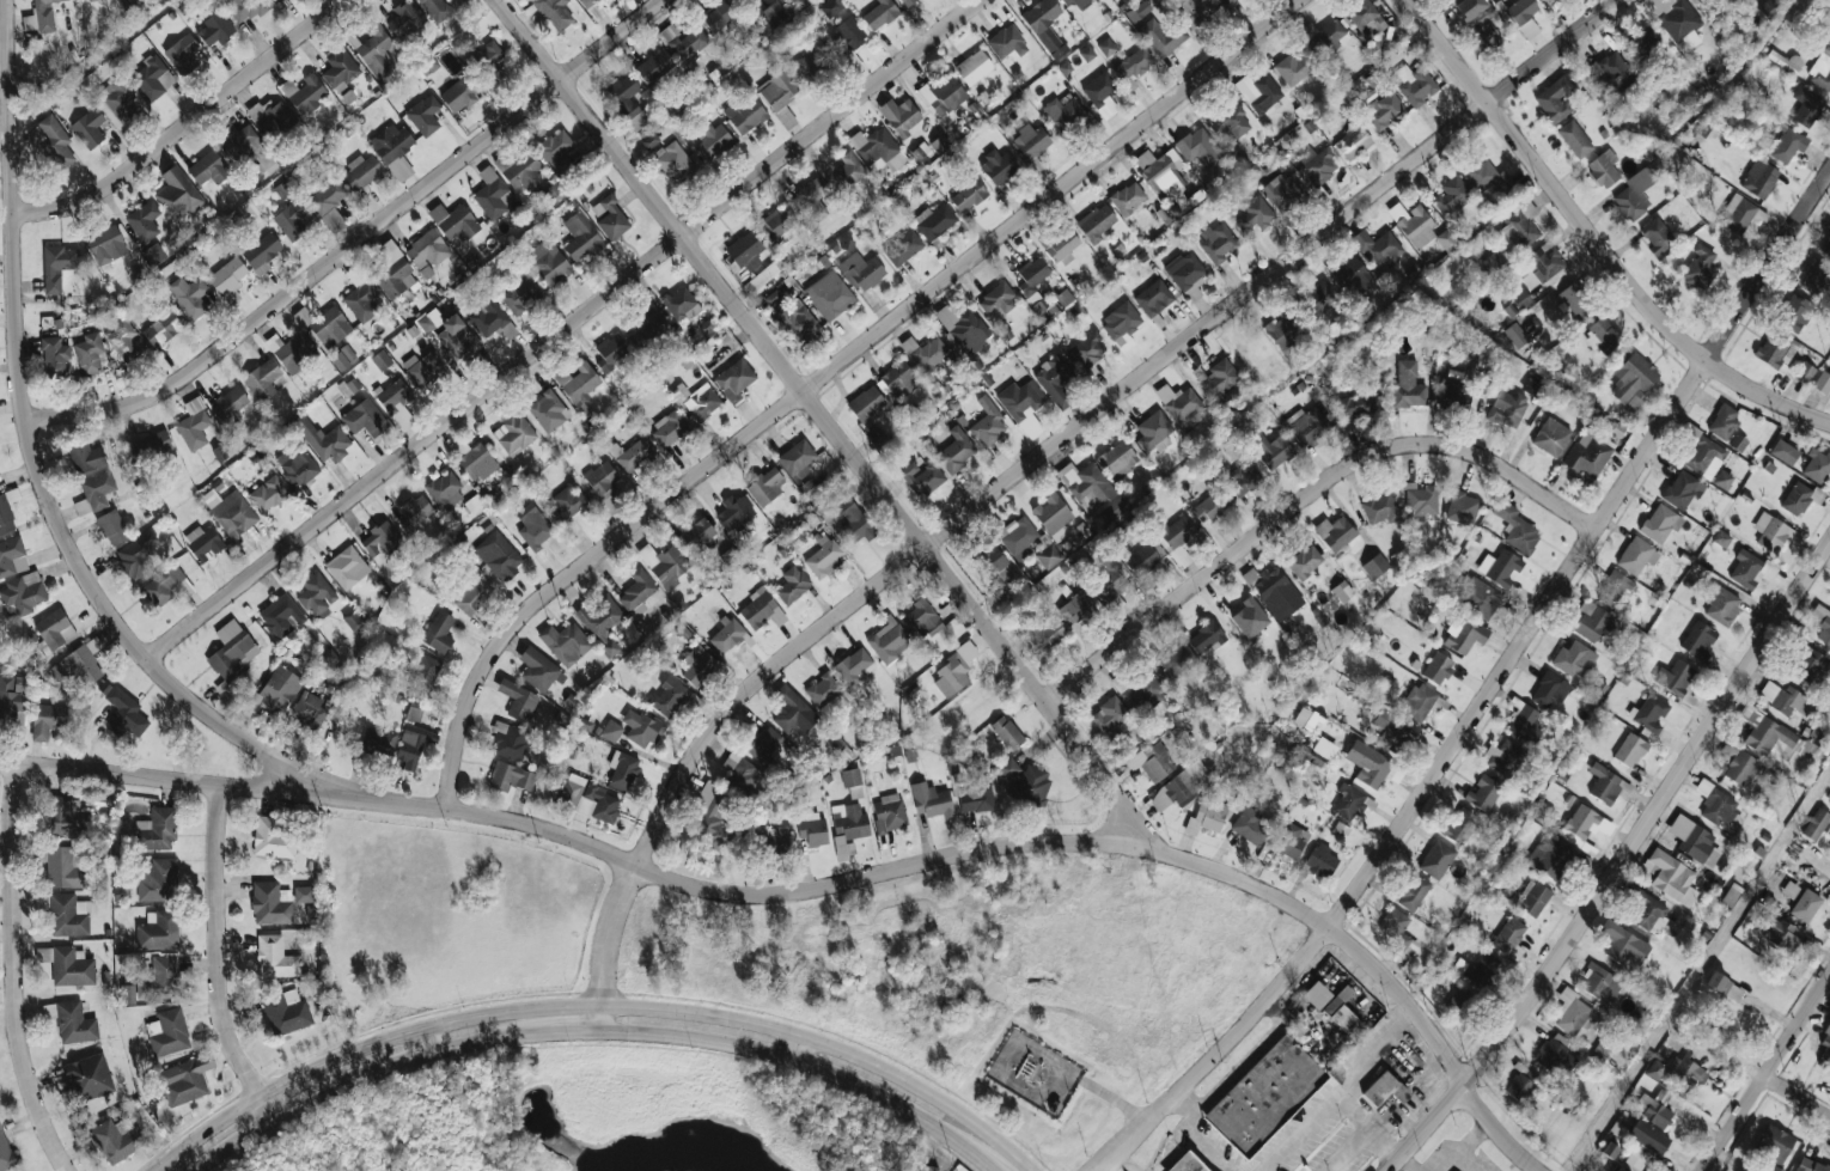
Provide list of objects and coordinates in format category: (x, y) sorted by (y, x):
building: (90, 0)
building: (1549, 0)
building: (1701, 0)
building: (273, 1)
building: (746, 1)
building: (902, 1)
building: (1226, 1)
building: (587, 2)
building: (1075, 2)
building: (830, 7)
building: (244, 8)
building: (435, 8)
building: (1469, 8)
building: (1137, 11)
building: (1196, 12)
building: (554, 13)
building: (774, 13)
building: (879, 14)
building: (41, 17)
building: (1523, 17)
building: (405, 19)
building: (1365, 19)
building: (720, 20)
building: (1675, 20)
building: (1043, 22)
building: (214, 30)
building: (1484, 33)
building: (849, 35)
building: (1161, 37)
building: (1325, 37)
building: (683, 41)
building: (1643, 41)
building: (1007, 42)
building: (1106, 47)
building: (376, 48)
building: (182, 55)
building: (487, 63)
building: (1134, 63)
building: (813, 65)
building: (654, 67)
building: (974, 67)
building: (1293, 68)
building: (340, 69)
building: (1820, 69)
building: (1610, 73)
building: (152, 79)
building: (1416, 87)
building: (777, 90)
building: (1259, 91)
building: (304, 93)
building: (459, 94)
building: (1102, 94)
building: (941, 96)
building: (1556, 98)
building: (624, 99)
building: (118, 103)
building: (1806, 106)
building: (1385, 110)
building: (1063, 112)
building: (423, 115)
building: (744, 115)
building: (899, 115)
building: (270, 118)
road: (187, 124)
building: (1231, 124)
building: (89, 128)
building: (1574, 139)
building: (649, 140)
building: (1031, 141)
building: (1353, 141)
building: (53, 142)
building: (713, 142)
building: (939, 144)
building: (392, 145)
building: (1788, 145)
building: (242, 146)
building: (1197, 148)
building: (555, 150)
building: (878, 150)
building: (675, 163)
building: (1317, 165)
building: (998, 167)
building: (208, 169)
building: (1603, 169)
building: (519, 170)
building: (361, 172)
building: (847, 172)
building: (1165, 177)
building: (1759, 178)
building: (1489, 179)
building: (1637, 190)
building: (1283, 193)
building: (177, 194)
building: (490, 194)
building: (968, 194)
building: (1451, 195)
building: (1128, 199)
building: (812, 200)
building: (329, 202)
building: (1737, 213)
building: (1253, 216)
building: (609, 218)
building: (293, 220)
building: (144, 221)
building: (455, 221)
building: (934, 221)
building: (775, 224)
building: (1096, 224)
building: (1413, 224)
building: (1517, 232)
building: (1657, 236)
building: (580, 238)
road: (1596, 238)
building: (1446, 240)
road: (358, 242)
building: (1218, 243)
building: (105, 245)
building: (1061, 245)
building: (1826, 248)
building: (903, 249)
building: (1378, 249)
building: (427, 250)
building: (745, 251)
building: (262, 252)
building: (153, 255)
building: (548, 263)
building: (1494, 263)
building: (1543, 264)
building: (57, 266)
building: (1700, 268)
building: (391, 272)
building: (861, 272)
building: (1187, 274)
building: (227, 275)
building: (1031, 275)
building: (763, 276)
building: (1350, 276)
building: (1816, 277)
building: (829, 294)
building: (188, 295)
building: (520, 295)
building: (771, 298)
building: (1153, 298)
building: (1318, 299)
building: (1576, 300)
building: (361, 301)
building: (998, 303)
building: (681, 304)
building: (1795, 315)
building: (488, 318)
building: (797, 319)
building: (1121, 325)
building: (330, 328)
building: (161, 329)
building: (648, 329)
building: (963, 329)
road: (563, 330)
building: (1281, 331)
building: (450, 334)
building: (1515, 335)
building: (1600, 335)
building: (122, 340)
building: (1087, 350)
building: (1777, 350)
building: (611, 352)
building: (89, 354)
building: (54, 356)
building: (382, 360)
building: (423, 368)
building: (1804, 372)
road: (829, 373)
building: (897, 377)
building: (1053, 378)
building: (1219, 378)
building: (262, 380)
building: (734, 380)
building: (1633, 380)
building: (578, 383)
building: (1822, 383)
building: (1408, 386)
building: (1535, 388)
building: (1454, 395)
building: (695, 398)
building: (1020, 400)
building: (395, 401)
building: (1358, 403)
building: (228, 404)
building: (866, 404)
road: (1100, 409)
building: (1507, 409)
building: (548, 411)
building: (364, 419)
road: (825, 421)
building: (1724, 421)
building: (988, 423)
building: (194, 425)
building: (1309, 427)
building: (669, 429)
building: (1153, 431)
building: (514, 434)
building: (1550, 437)
building: (878, 438)
building: (323, 440)
building: (1737, 443)
building: (154, 444)
building: (956, 451)
building: (1273, 451)
building: (1783, 452)
road: (33, 453)
building: (633, 455)
building: (1587, 455)
building: (85, 457)
building: (1704, 457)
building: (1118, 459)
building: (797, 461)
building: (476, 463)
building: (1817, 465)
building: (299, 468)
building: (921, 477)
building: (602, 478)
building: (1243, 480)
building: (1722, 480)
building: (1086, 482)
building: (767, 484)
building: (1682, 489)
building: (444, 490)
building: (96, 492)
building: (268, 494)
road: (1306, 499)
building: (1797, 499)
building: (1421, 501)
building: (1210, 504)
building: (566, 505)
building: (1379, 507)
building: (1463, 508)
building: (1115, 510)
building: (7, 512)
building: (734, 512)
building: (411, 513)
building: (233, 514)
building: (1054, 517)
building: (855, 523)
building: (1660, 523)
building: (533, 526)
building: (112, 527)
building: (1515, 527)
building: (1177, 532)
building: (1335, 532)
building: (1773, 532)
building: (699, 535)
building: (1018, 537)
building: (1721, 538)
building: (380, 539)
building: (203, 543)
building: (498, 555)
building: (138, 556)
building: (824, 556)
building: (1049, 556)
building: (1636, 556)
building: (12, 557)
building: (728, 557)
building: (1141, 561)
building: (1304, 561)
building: (994, 565)
building: (666, 566)
building: (1375, 566)
building: (1500, 567)
building: (346, 568)
building: (1750, 569)
building: (1110, 584)
building: (163, 585)
building: (792, 585)
building: (1270, 585)
building: (1614, 588)
building: (1342, 591)
building: (636, 592)
building: (24, 593)
building: (316, 594)
building: (472, 596)
building: (1476, 596)
building: (1722, 606)
building: (758, 608)
building: (1074, 609)
building: (281, 616)
building: (1250, 617)
building: (921, 618)
building: (352, 620)
building: (602, 622)
building: (1591, 622)
building: (55, 629)
building: (1824, 629)
building: (439, 632)
building: (1043, 633)
building: (726, 635)
building: (1463, 635)
building: (1207, 638)
building: (1698, 640)
building: (886, 641)
building: (565, 644)
building: (231, 649)
building: (1574, 659)
building: (1173, 661)
building: (697, 663)
building: (1807, 665)
building: (854, 666)
building: (77, 667)
building: (1438, 667)
building: (539, 670)
building: (953, 671)
building: (425, 673)
building: (1676, 677)
building: (279, 688)
building: (823, 690)
building: (1146, 690)
road: (1487, 690)
building: (1550, 690)
building: (14, 696)
building: (669, 697)
building: (1781, 697)
building: (519, 701)
building: (1417, 702)
building: (789, 709)
building: (122, 712)
building: (309, 712)
building: (414, 712)
building: (1651, 713)
building: (1109, 718)
building: (1307, 719)
building: (48, 720)
building: (1524, 722)
building: (641, 727)
building: (611, 731)
building: (1391, 731)
building: (1007, 733)
building: (1771, 736)
building: (379, 740)
building: (510, 740)
building: (764, 744)
building: (411, 748)
building: (1324, 748)
building: (1630, 750)
building: (1502, 757)
building: (1153, 762)
building: (1368, 764)
building: (622, 769)
building: (740, 773)
building: (510, 777)
building: (850, 777)
building: (1026, 782)
building: (1608, 785)
building: (1181, 786)
building: (1483, 793)
building: (975, 798)
building: (587, 799)
building: (929, 800)
building: (1349, 803)
building: (1720, 809)
building: (889, 812)
building: (1210, 813)
building: (1543, 813)
building: (60, 816)
building: (713, 818)
power tower: (1799, 821)
building: (1817, 824)
building: (1460, 825)
building: (1584, 825)
building: (1251, 827)
building: (848, 828)
building: (157, 829)
building: (812, 830)
building: (1829, 834)
building: (272, 840)
building: (1289, 840)
building: (771, 841)
building: (1694, 841)
building: (1829, 848)
building: (1549, 856)
building: (1320, 860)
building: (1436, 860)
road: (1811, 860)
road: (1618, 866)
building: (62, 868)
building: (1671, 877)
building: (155, 880)
road: (830, 885)
building: (1789, 889)
building: (1413, 892)
building: (1532, 898)
building: (264, 902)
building: (1805, 905)
building: (1648, 913)
building: (67, 915)
building: (158, 931)
building: (1398, 931)
building: (1779, 934)
building: (1509, 938)
building: (1623, 944)
road: (608, 946)
building: (43, 955)
road: (214, 958)
building: (274, 958)
building: (71, 968)
road: (12, 971)
building: (1481, 972)
building: (163, 975)
building: (1600, 982)
building: (1725, 987)
building: (127, 994)
building: (1316, 995)
building: (1459, 1004)
road: (594, 1005)
building: (287, 1013)
building: (1343, 1013)
building: (1572, 1013)
building: (74, 1024)
building: (167, 1032)
road: (596, 1032)
building: (1825, 1044)
road: (801, 1049)
power tower: (1648, 1053)
building: (1556, 1054)
road: (1755, 1067)
building: (1654, 1069)
building: (1689, 1071)
road: (1767, 1077)
building: (89, 1078)
building: (185, 1080)
building: (1521, 1085)
road: (1340, 1090)
building: (1385, 1090)
building: (1264, 1096)
building: (1654, 1111)
road: (1378, 1132)
road: (1196, 1134)
building: (1648, 1138)
building: (116, 1140)
building: (1775, 1145)
road: (1350, 1148)
river: (672, 1149)
building: (1610, 1151)
road: (1466, 1152)
building: (5, 1153)
building: (1635, 1160)
road: (1111, 1164)
building: (1185, 1164)
road: (1471, 1164)
building: (1810, 1165)
building: (1773, 1167)
building: (1619, 1169)

